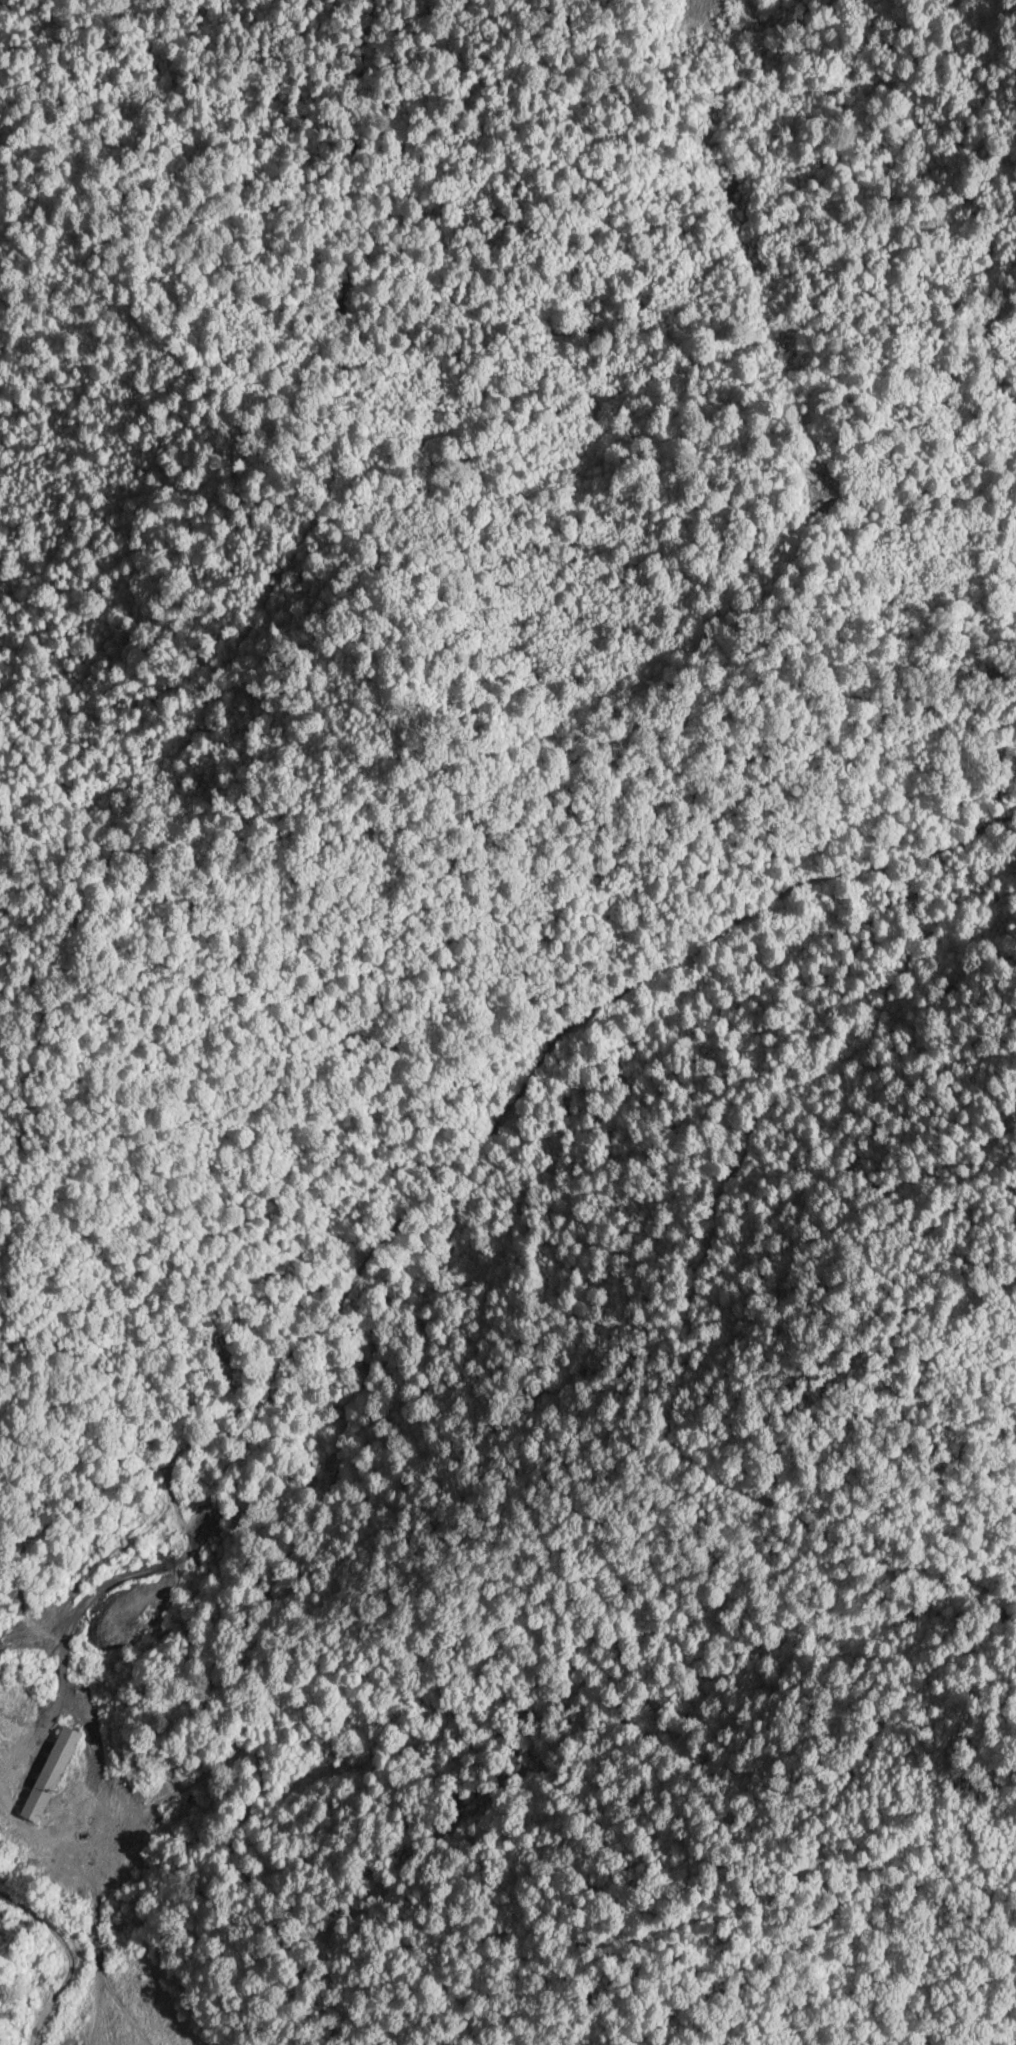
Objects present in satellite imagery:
road: (376, 79)
road: (51, 1918)

